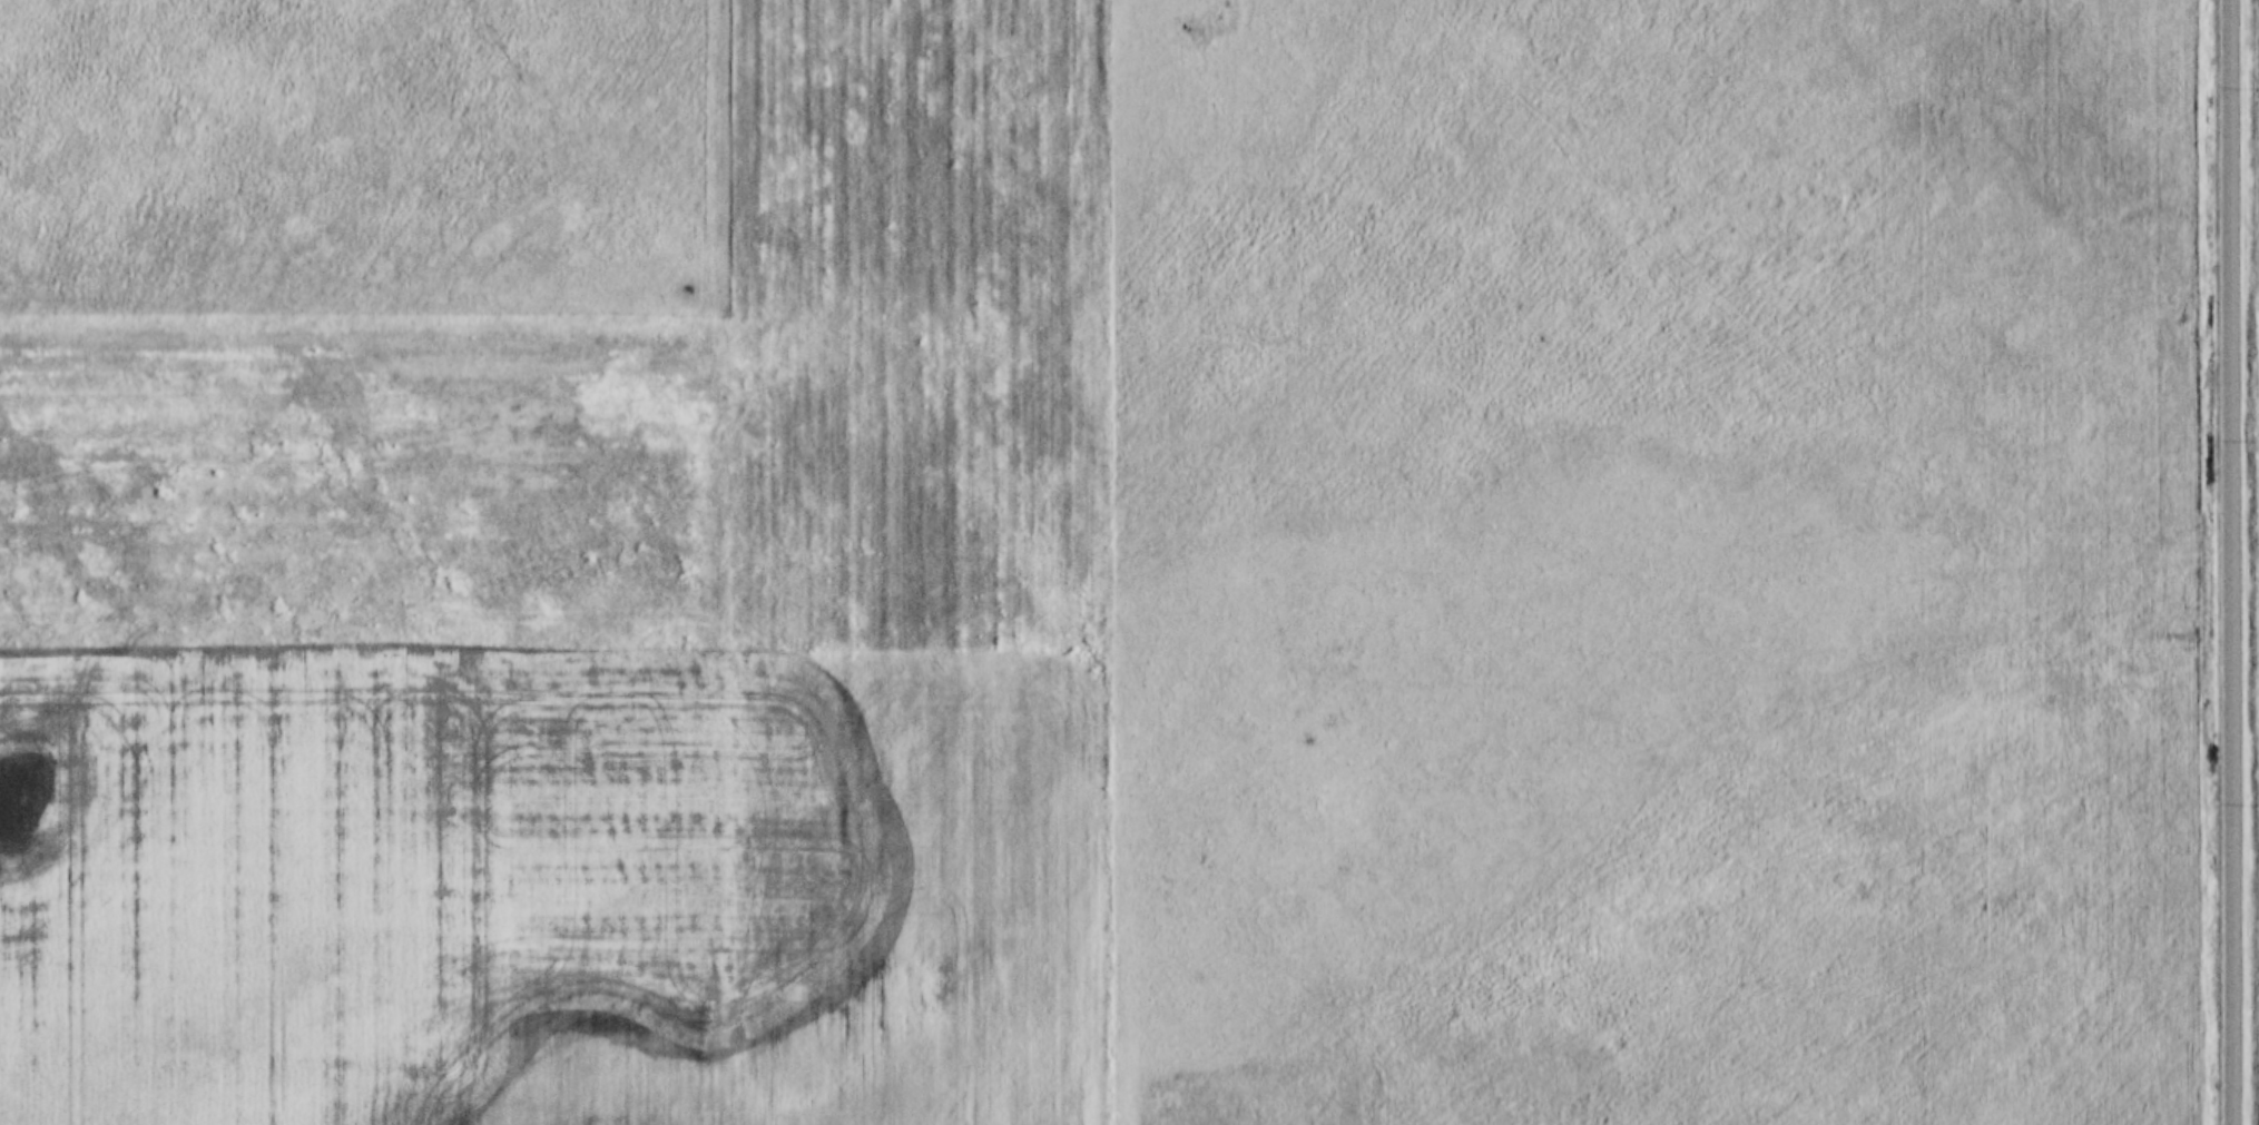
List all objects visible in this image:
road: (2229, 562)

